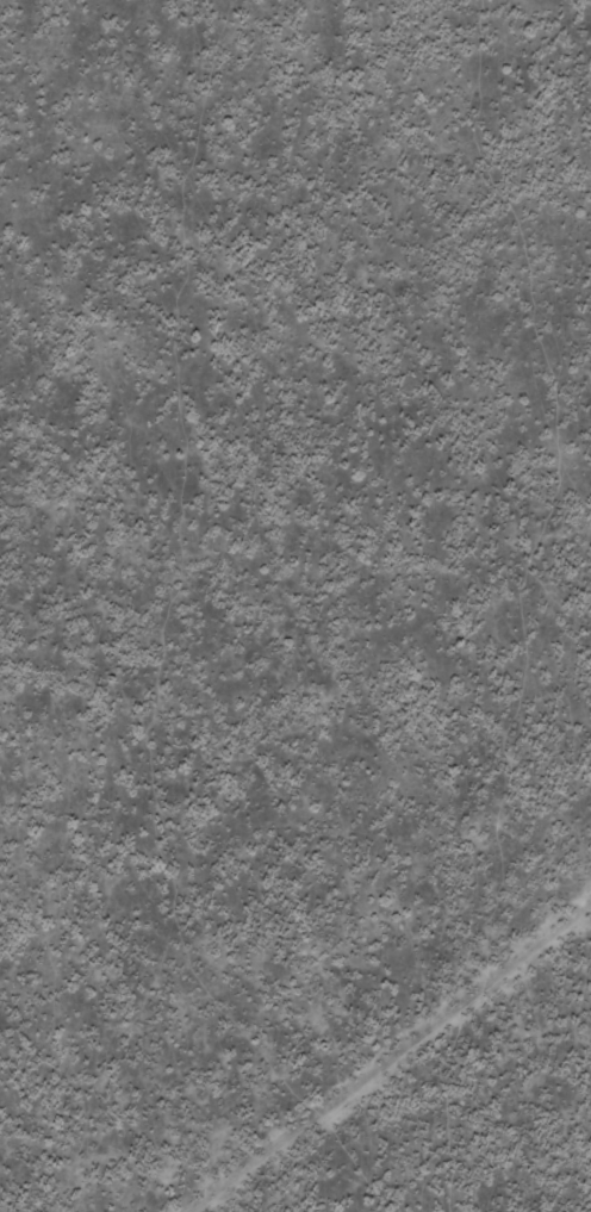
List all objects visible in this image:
road: (400, 1068)

